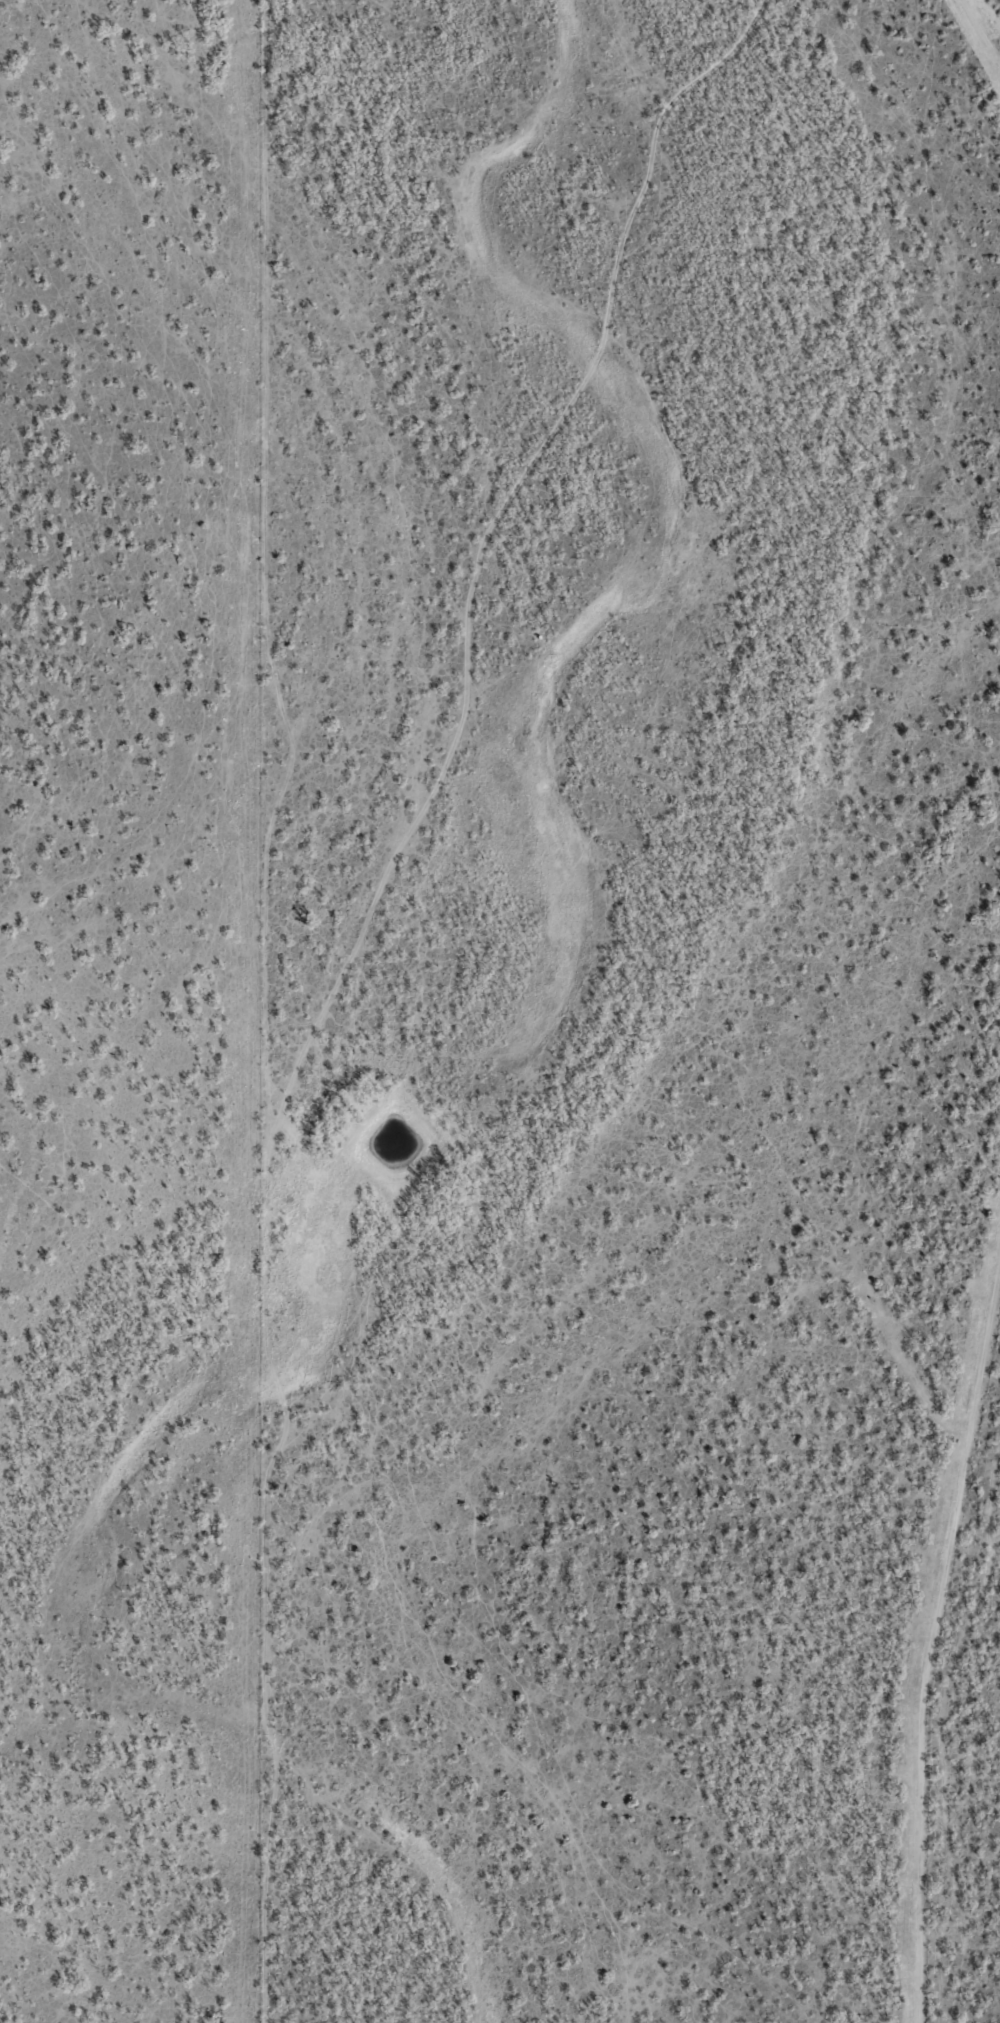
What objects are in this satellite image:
road: (966, 53)

